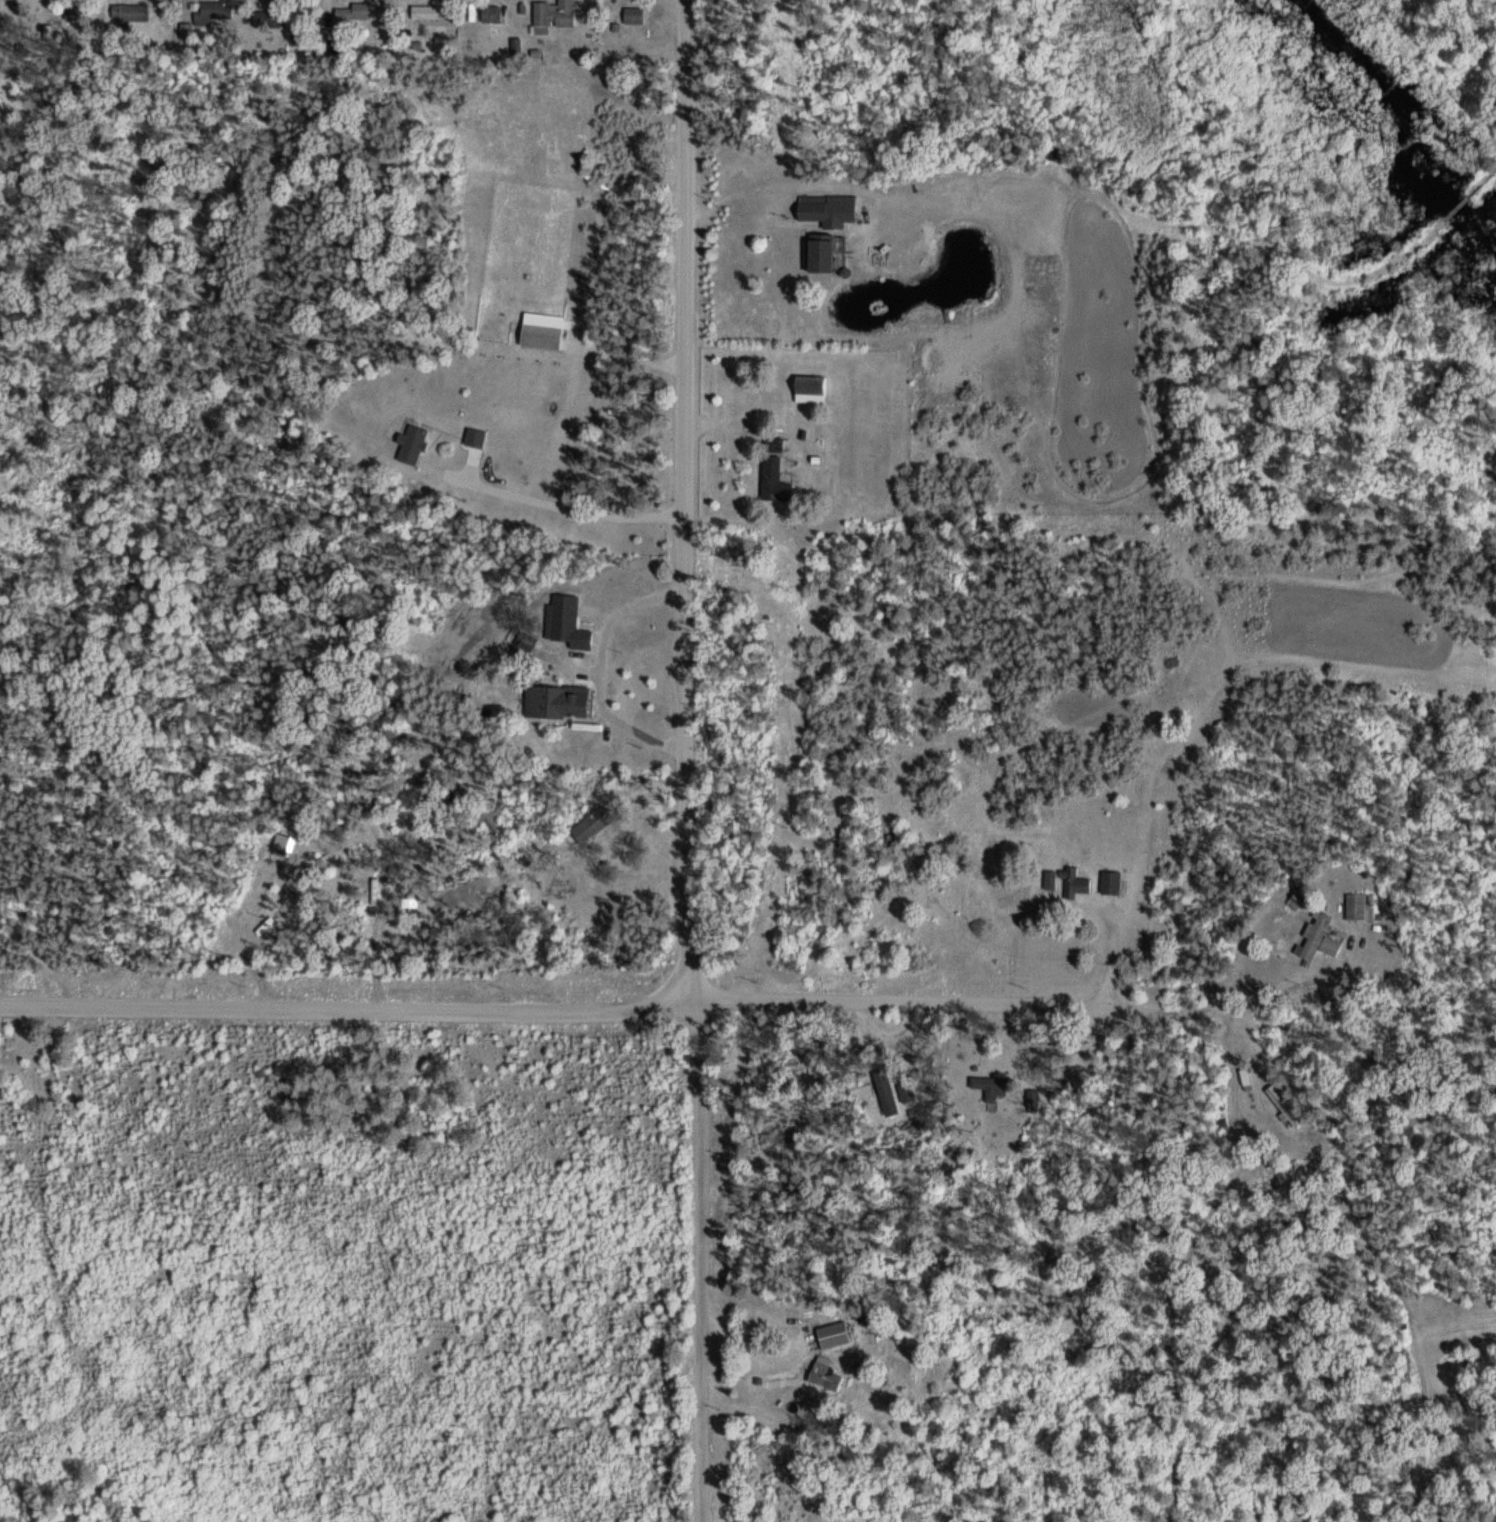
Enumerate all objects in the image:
building: (213, 10)
building: (128, 11)
building: (353, 11)
building: (423, 11)
building: (489, 11)
building: (631, 14)
building: (550, 15)
building: (265, 17)
building: (821, 223)
building: (539, 335)
building: (808, 388)
building: (473, 437)
building: (409, 443)
building: (771, 472)
building: (566, 621)
building: (520, 649)
building: (554, 700)
road: (685, 761)
building: (590, 823)
building: (1048, 878)
building: (1108, 881)
building: (1072, 882)
building: (1296, 899)
building: (1355, 905)
building: (1315, 936)
road: (747, 999)
building: (1243, 1078)
building: (884, 1090)
building: (1282, 1104)
building: (774, 1136)
building: (830, 1333)
building: (822, 1375)

